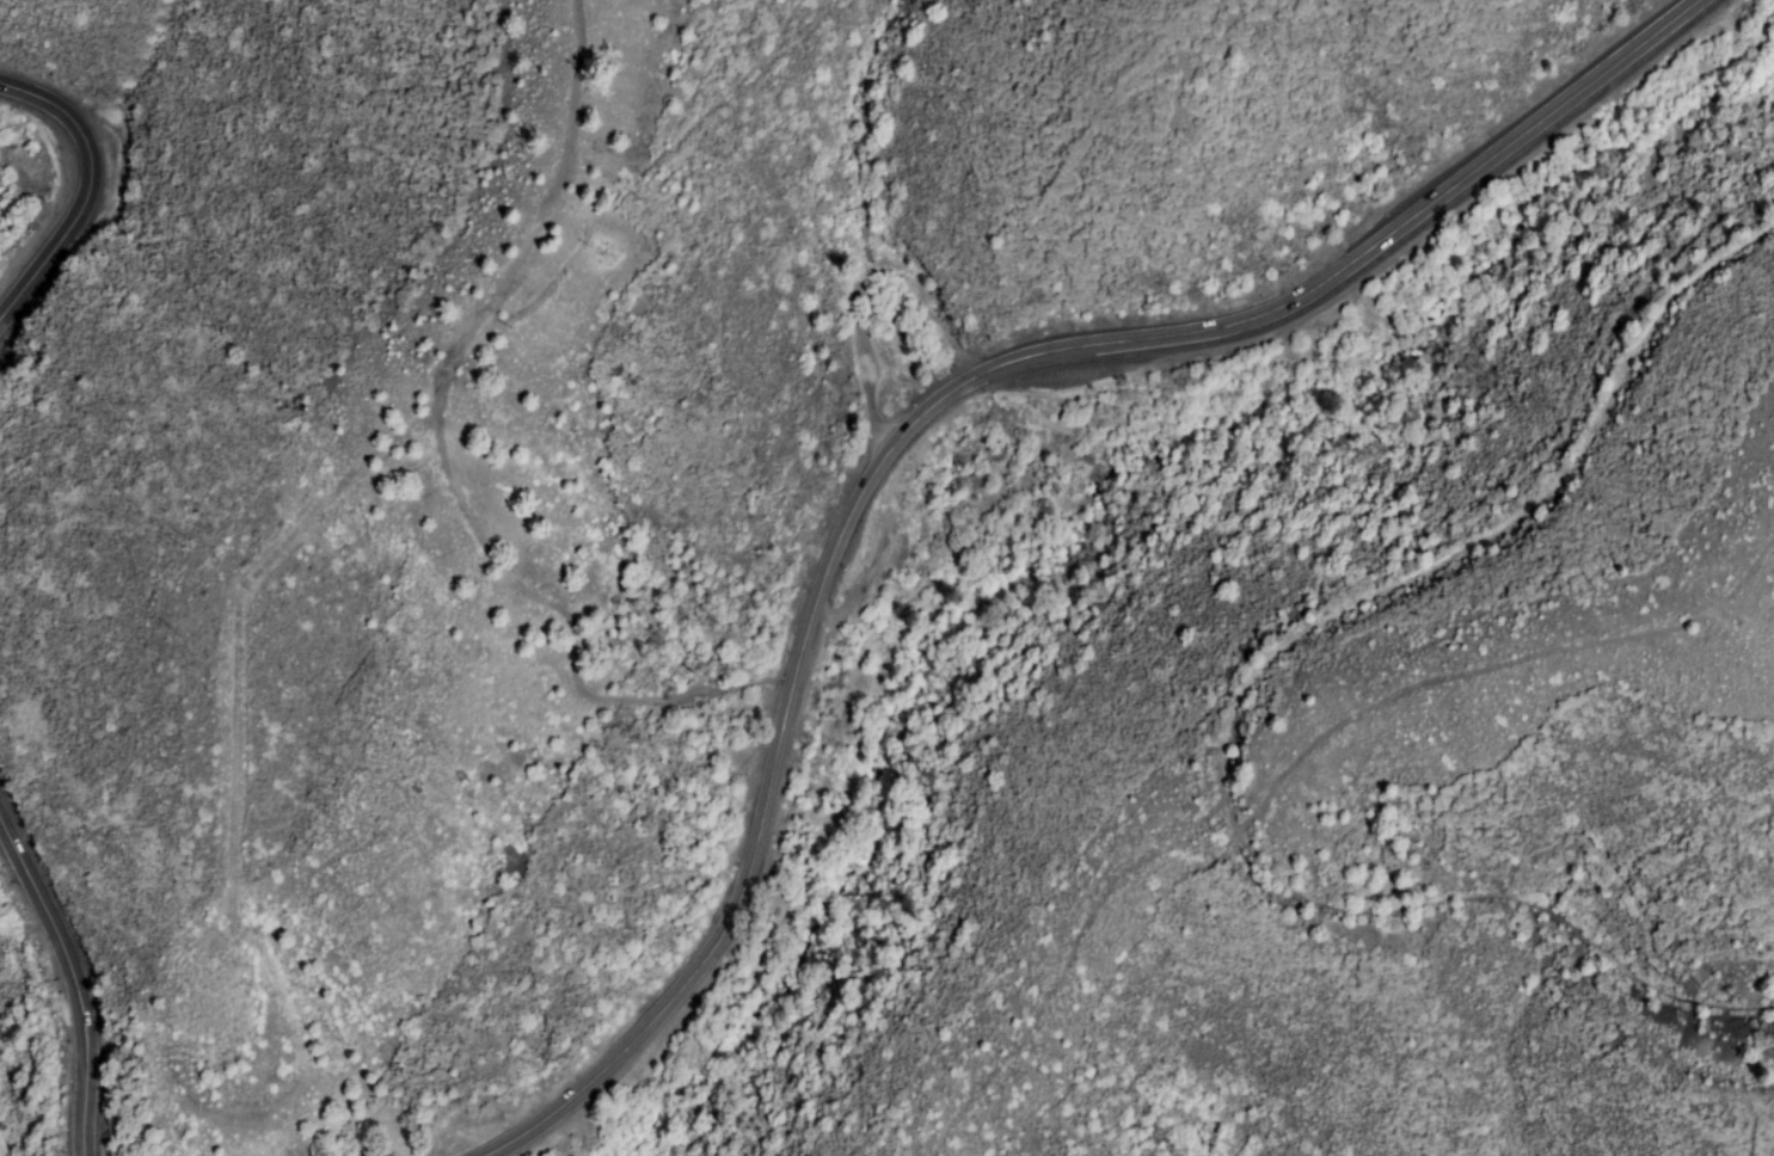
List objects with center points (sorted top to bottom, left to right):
road: (88, 192)
road: (919, 402)
road: (1241, 690)
road: (73, 986)

